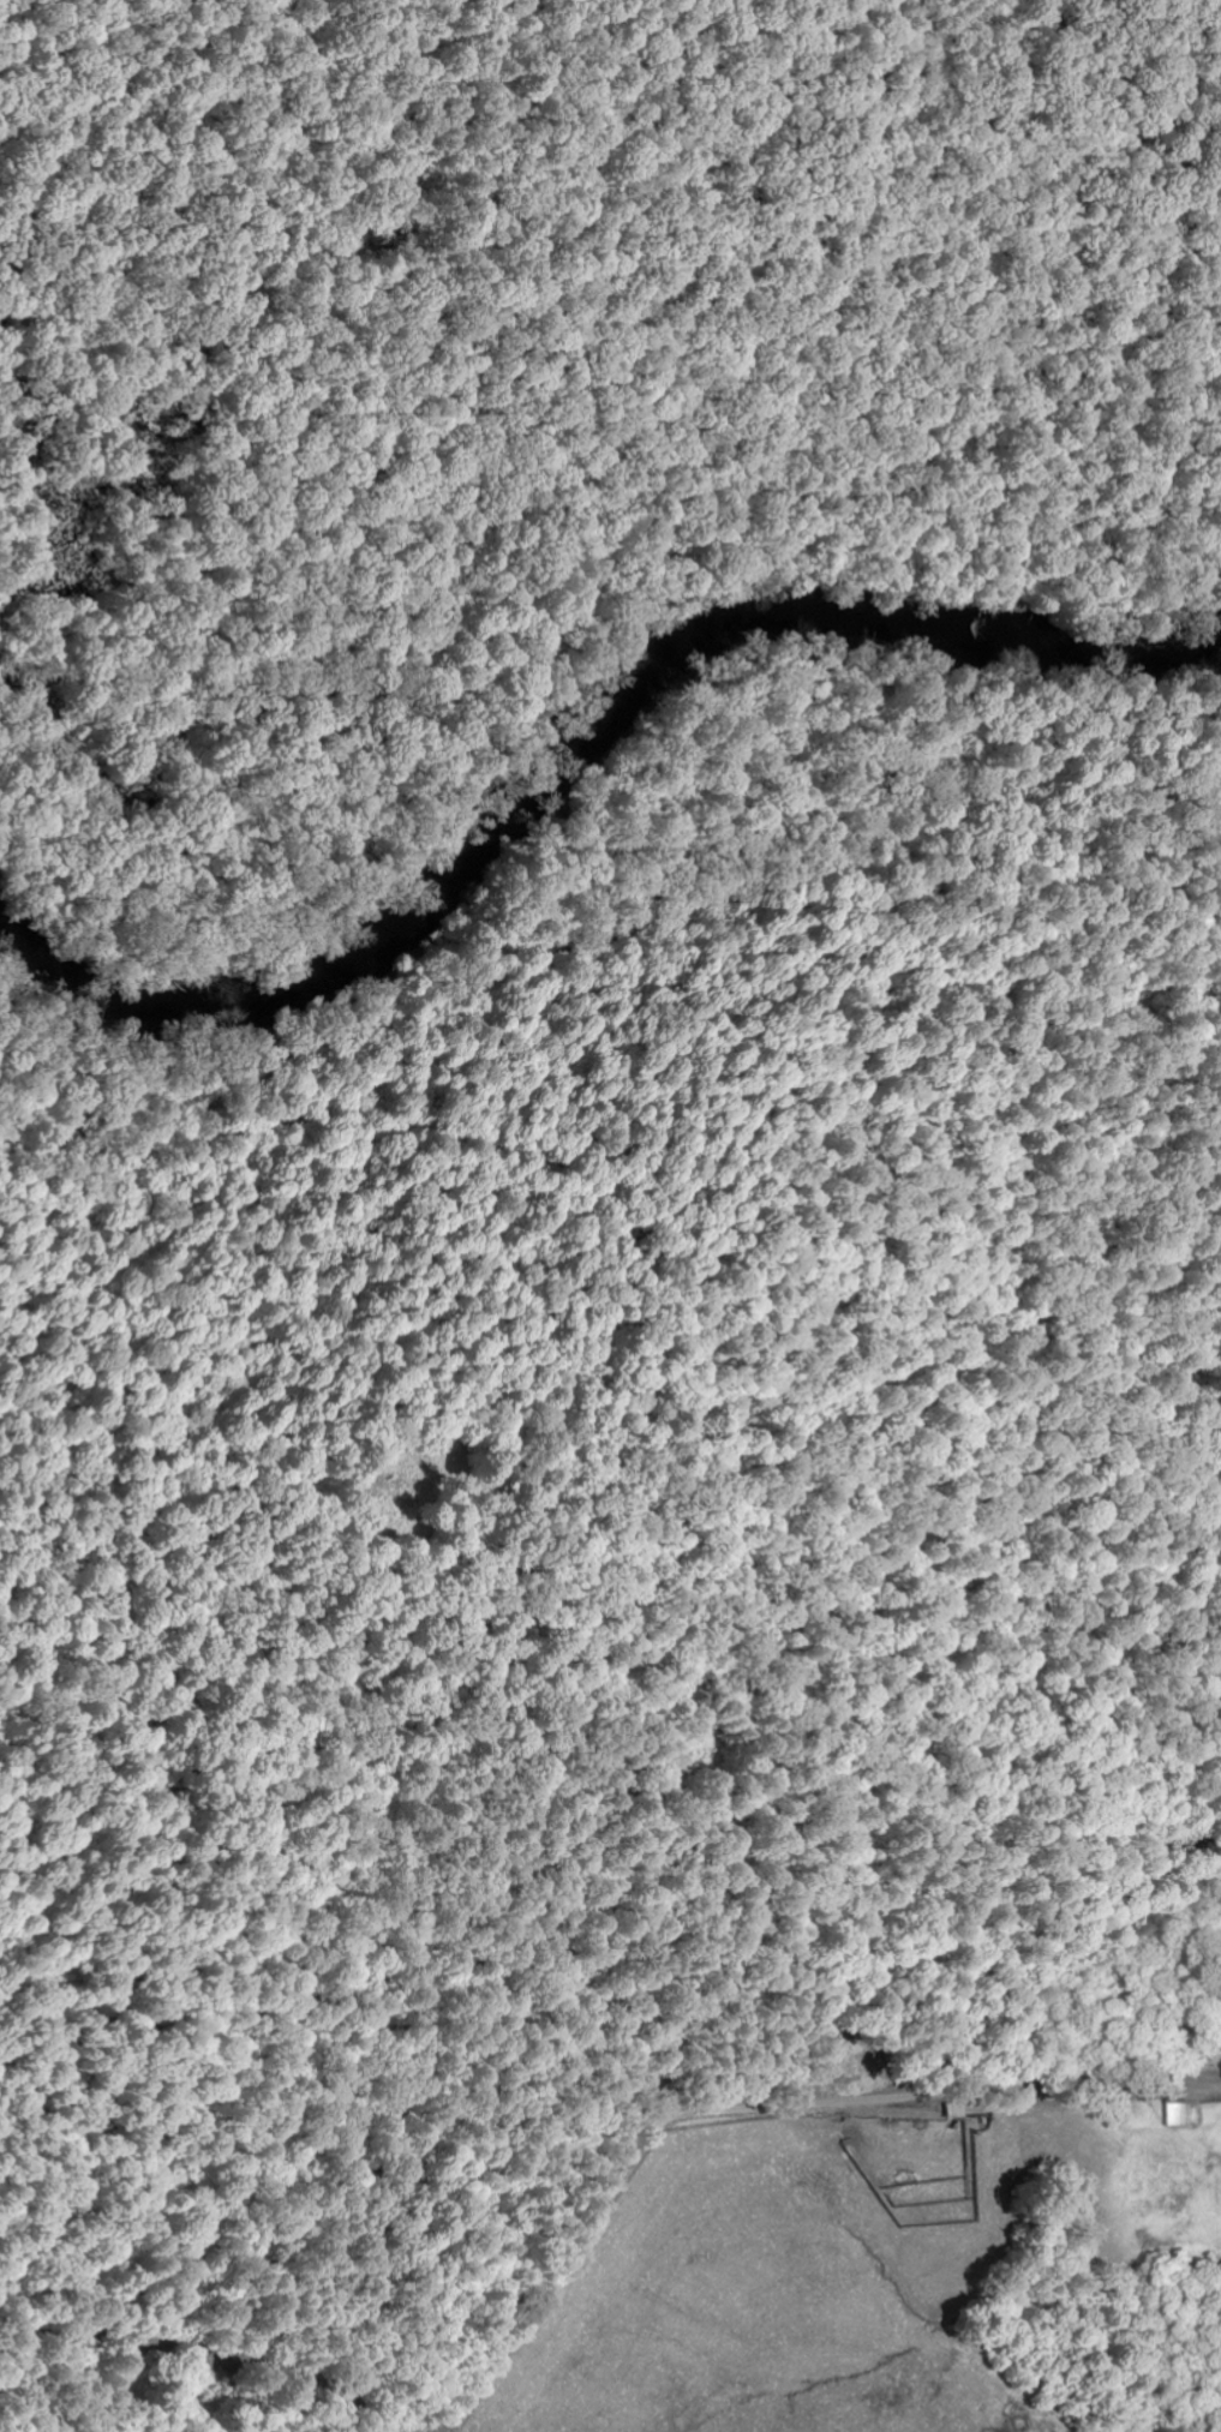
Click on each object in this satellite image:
river: (577, 727)
road: (202, 2346)

